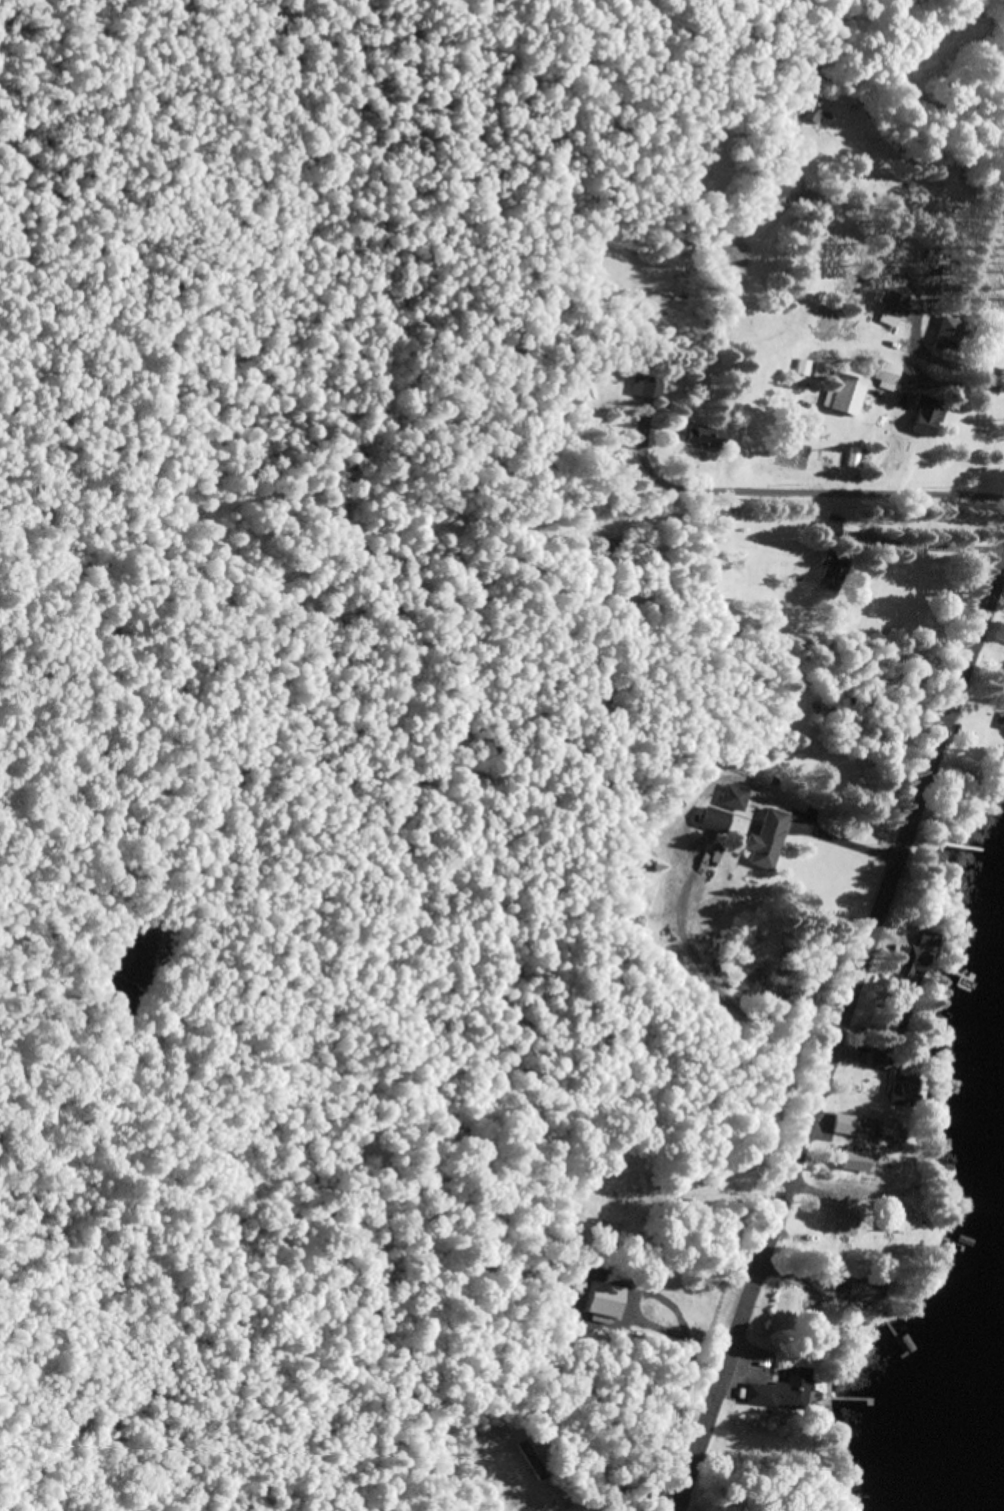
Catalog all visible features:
building: (814, 117)
building: (828, 126)
building: (873, 137)
building: (895, 302)
building: (949, 332)
building: (805, 367)
building: (822, 371)
building: (881, 371)
building: (649, 387)
building: (846, 393)
building: (927, 416)
building: (708, 437)
building: (704, 445)
building: (831, 526)
building: (833, 571)
building: (1003, 732)
building: (738, 797)
building: (718, 819)
building: (768, 840)
building: (939, 857)
building: (920, 955)
building: (901, 1013)
road: (838, 1038)
building: (880, 1058)
building: (905, 1091)
building: (844, 1123)
building: (834, 1124)
building: (895, 1132)
building: (856, 1159)
building: (842, 1215)
building: (899, 1218)
building: (868, 1290)
building: (604, 1300)
building: (783, 1390)
building: (531, 1459)

